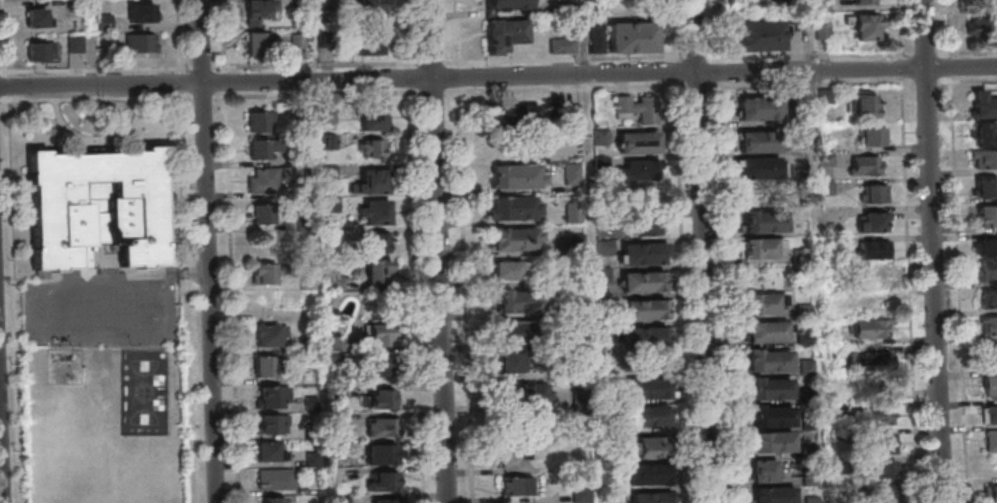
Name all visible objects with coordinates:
building: (863, 1)
building: (512, 4)
building: (371, 8)
building: (259, 10)
building: (143, 12)
building: (35, 17)
building: (978, 23)
building: (866, 25)
road: (952, 26)
road: (903, 27)
road: (677, 28)
road: (719, 29)
building: (505, 34)
building: (760, 35)
road: (182, 36)
building: (632, 36)
building: (75, 42)
building: (141, 42)
building: (257, 43)
building: (597, 43)
building: (369, 45)
building: (562, 45)
building: (40, 50)
road: (935, 53)
road: (570, 59)
road: (437, 62)
road: (498, 75)
building: (984, 103)
building: (862, 105)
building: (637, 107)
building: (759, 108)
building: (517, 116)
building: (374, 118)
building: (259, 120)
building: (984, 134)
building: (873, 136)
building: (758, 141)
building: (638, 142)
building: (264, 147)
building: (372, 147)
building: (984, 159)
building: (866, 164)
building: (760, 167)
building: (636, 169)
building: (516, 175)
building: (373, 180)
building: (263, 181)
building: (986, 187)
building: (875, 193)
building: (95, 207)
building: (514, 207)
building: (573, 211)
building: (374, 212)
building: (263, 213)
building: (647, 213)
building: (986, 215)
building: (764, 221)
building: (873, 221)
building: (516, 238)
building: (376, 242)
building: (576, 243)
building: (986, 246)
building: (761, 247)
building: (874, 249)
road: (212, 251)
road: (234, 251)
road: (442, 251)
road: (706, 251)
road: (937, 251)
building: (648, 254)
building: (800, 256)
road: (727, 259)
building: (509, 269)
building: (379, 271)
building: (988, 271)
building: (264, 273)
road: (962, 277)
road: (687, 279)
building: (646, 282)
road: (913, 293)
building: (988, 298)
building: (518, 300)
building: (762, 304)
building: (874, 305)
building: (647, 310)
parking lot: (106, 313)
building: (989, 326)
building: (520, 329)
building: (870, 329)
building: (770, 333)
building: (379, 334)
building: (266, 335)
building: (804, 337)
building: (648, 338)
building: (769, 360)
building: (879, 360)
building: (509, 361)
building: (262, 364)
building: (381, 365)
building: (807, 366)
building: (990, 385)
building: (651, 389)
building: (774, 389)
park: (147, 393)
building: (526, 393)
building: (269, 396)
building: (381, 397)
building: (990, 412)
road: (2, 414)
building: (878, 416)
building: (653, 417)
building: (774, 417)
building: (272, 423)
building: (380, 425)
building: (991, 440)
building: (775, 442)
building: (881, 442)
building: (655, 448)
building: (270, 451)
building: (381, 453)
building: (313, 458)
building: (508, 459)
building: (885, 469)
building: (764, 470)
building: (651, 475)
building: (276, 478)
building: (382, 480)
building: (514, 488)
building: (581, 494)
building: (887, 494)
building: (990, 494)
building: (777, 495)
building: (655, 498)
building: (273, 499)
building: (386, 500)

